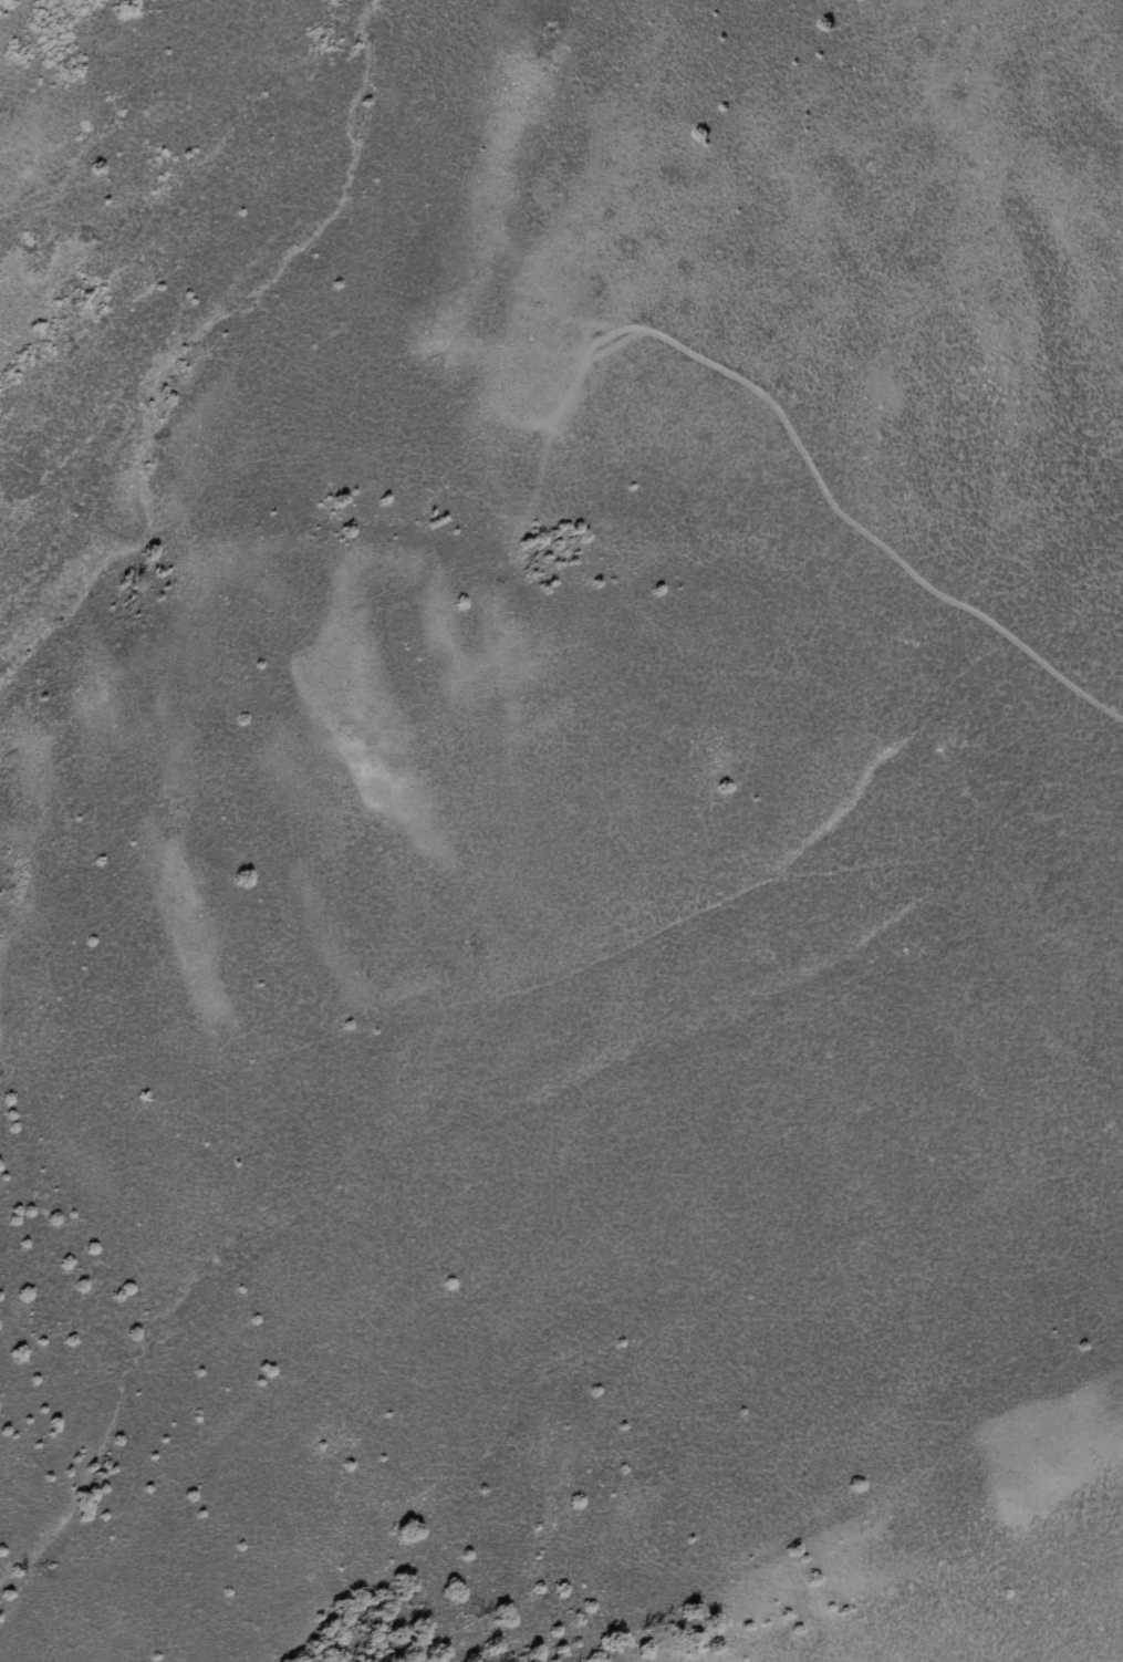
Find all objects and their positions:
road: (829, 505)

